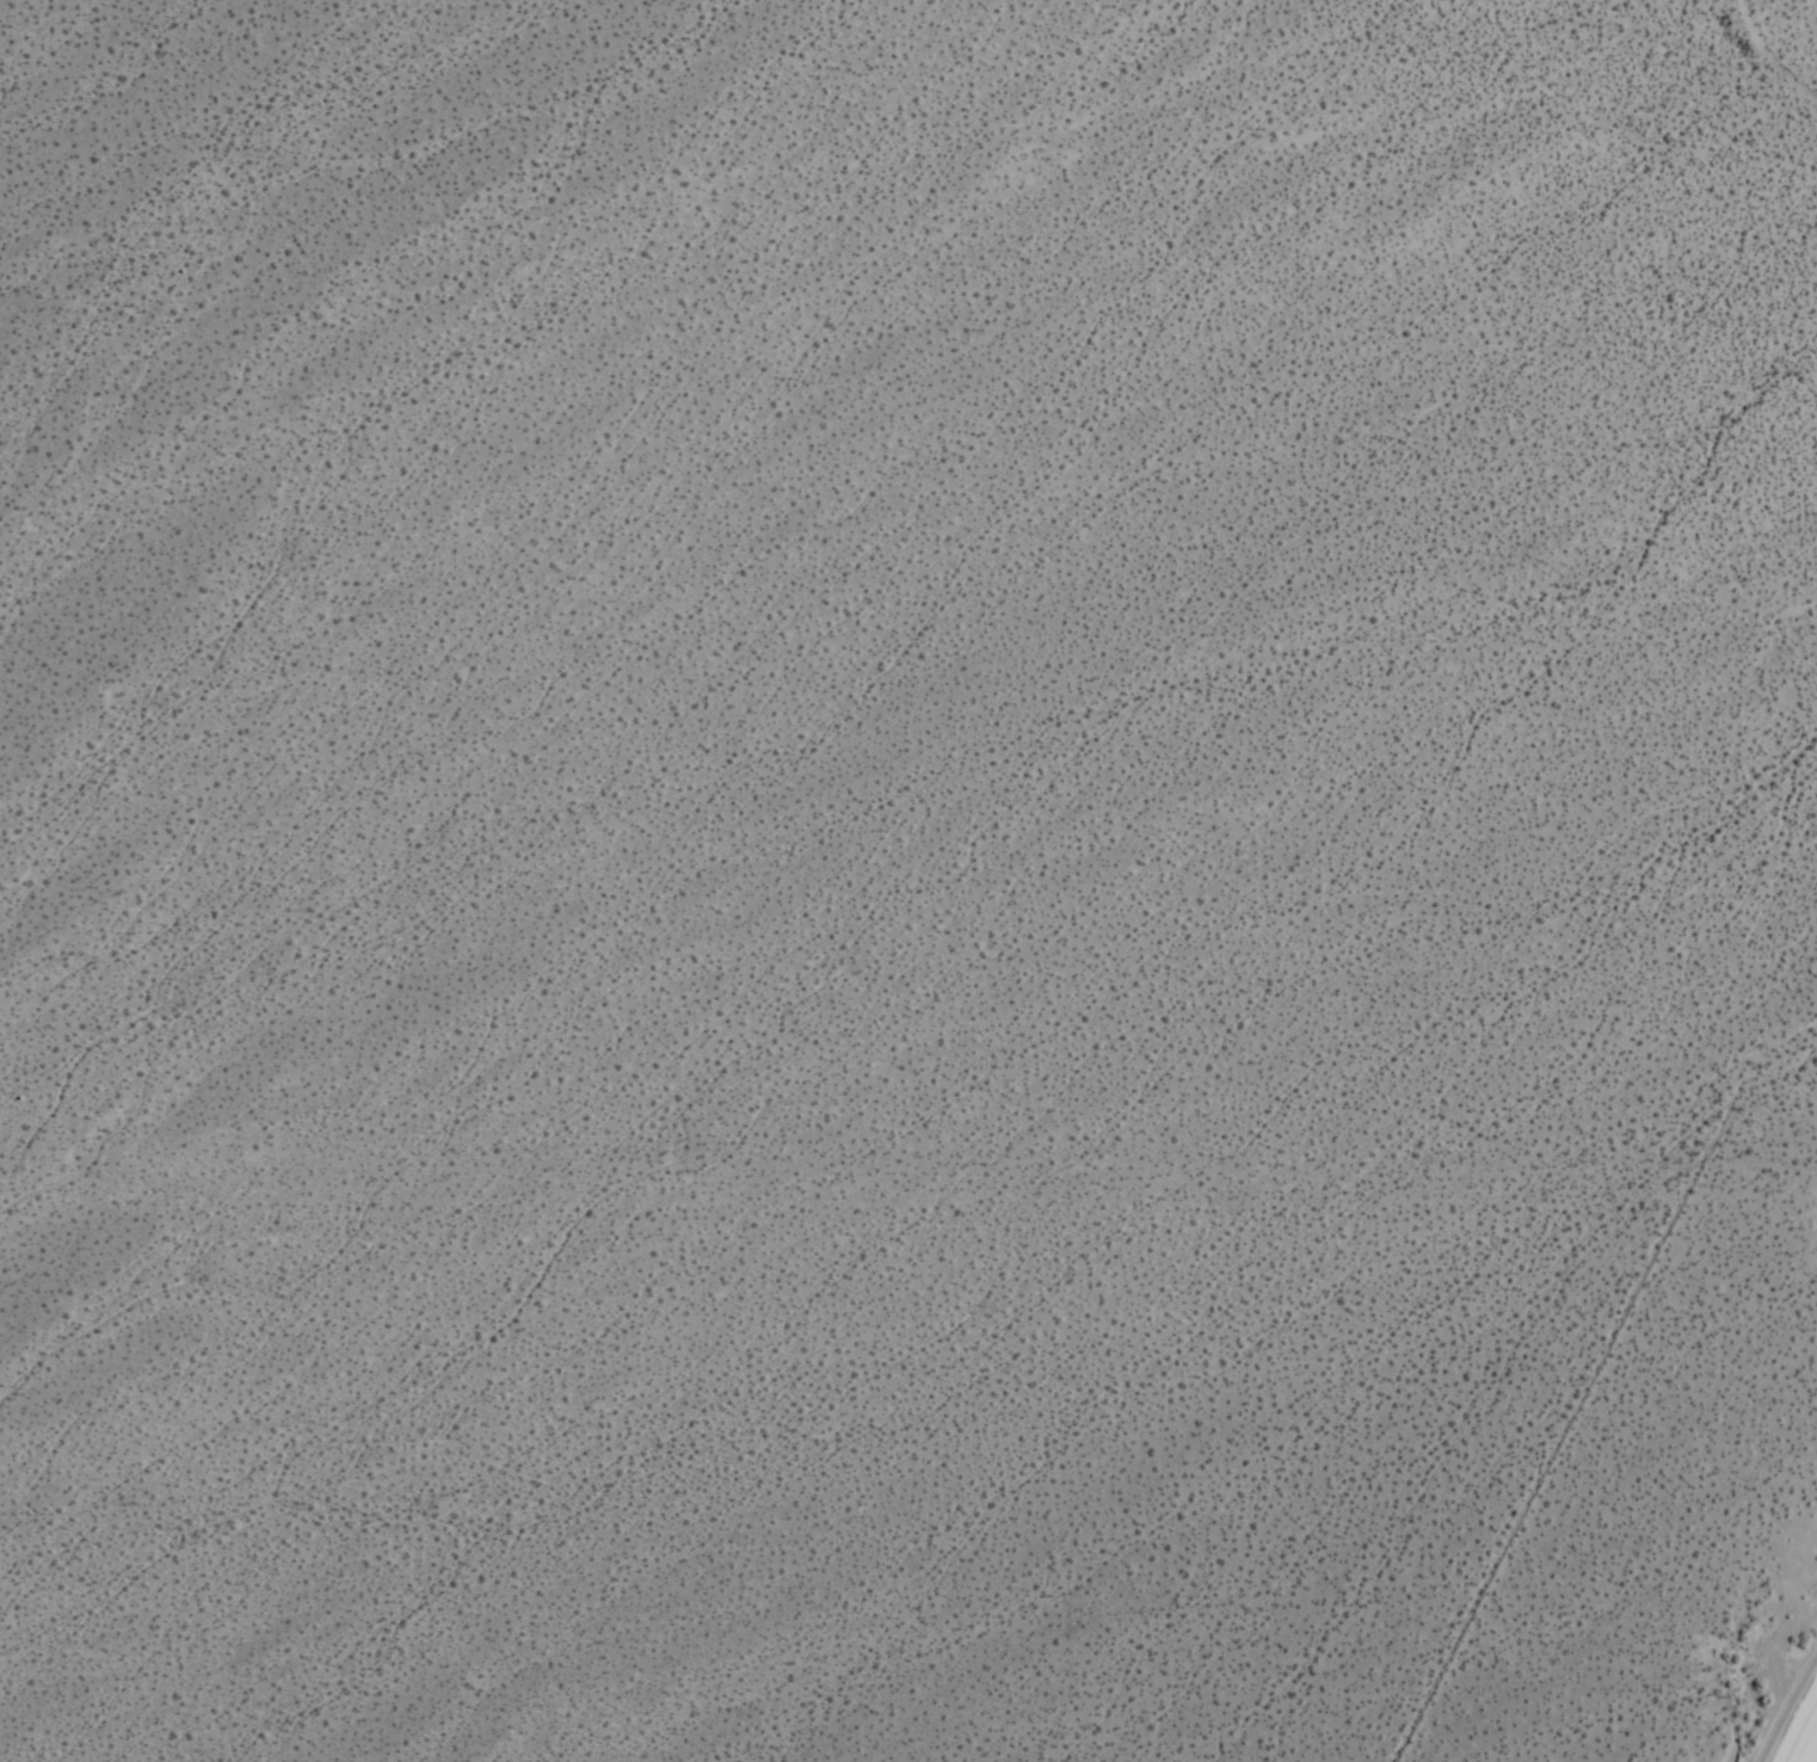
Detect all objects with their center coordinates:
crop: (1787, 1707)

